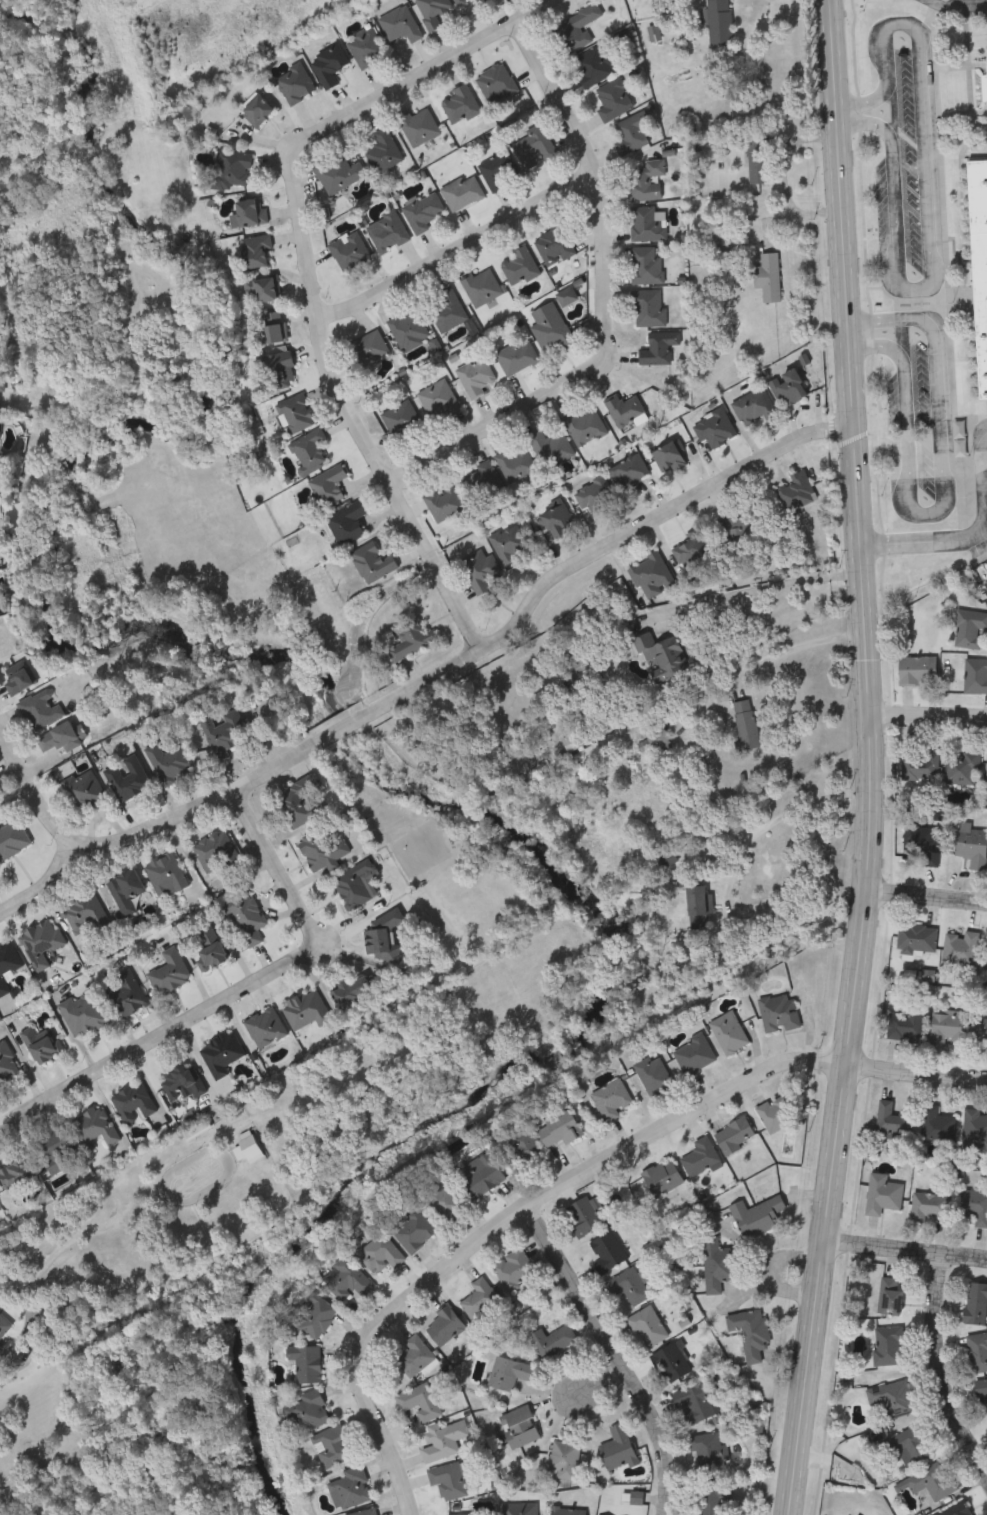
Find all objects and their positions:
building: (456, 1)
building: (478, 1)
road: (961, 2)
building: (430, 11)
building: (721, 21)
building: (398, 24)
building: (574, 29)
building: (365, 48)
building: (326, 65)
building: (592, 66)
building: (986, 70)
road: (419, 73)
building: (494, 83)
building: (293, 84)
building: (611, 100)
building: (458, 105)
building: (253, 110)
building: (417, 127)
building: (630, 133)
building: (532, 146)
building: (381, 151)
building: (759, 159)
building: (230, 167)
building: (497, 169)
building: (336, 173)
road: (782, 177)
building: (648, 180)
road: (598, 181)
building: (460, 192)
road: (932, 203)
building: (420, 211)
building: (248, 212)
building: (648, 223)
building: (385, 231)
building: (553, 245)
building: (347, 250)
road: (456, 251)
building: (251, 252)
building: (980, 259)
building: (647, 264)
building: (518, 266)
building: (770, 275)
building: (481, 286)
building: (261, 287)
building: (565, 295)
building: (445, 308)
building: (650, 308)
building: (272, 326)
building: (407, 328)
building: (549, 328)
road: (903, 336)
building: (367, 348)
building: (661, 348)
building: (0, 355)
building: (516, 357)
building: (277, 364)
building: (477, 374)
building: (787, 388)
building: (2, 391)
building: (437, 400)
building: (753, 406)
building: (624, 409)
road: (350, 410)
building: (295, 412)
building: (399, 418)
road: (497, 422)
building: (582, 426)
building: (713, 428)
building: (0, 432)
building: (550, 447)
building: (307, 450)
building: (668, 456)
building: (516, 465)
building: (628, 475)
building: (480, 482)
road: (986, 484)
building: (327, 486)
building: (795, 492)
building: (593, 496)
road: (944, 496)
building: (443, 503)
building: (555, 520)
building: (345, 522)
building: (734, 533)
road: (615, 540)
building: (506, 543)
road: (926, 543)
building: (692, 551)
building: (372, 562)
building: (480, 569)
building: (650, 575)
road: (751, 593)
building: (0, 617)
building: (970, 628)
building: (409, 639)
road: (801, 640)
building: (663, 656)
building: (918, 670)
building: (976, 675)
building: (18, 680)
building: (41, 709)
road: (930, 719)
road: (354, 723)
building: (748, 726)
building: (223, 734)
building: (59, 738)
building: (661, 739)
building: (575, 742)
road: (873, 759)
building: (171, 762)
building: (918, 762)
building: (962, 766)
building: (129, 778)
road: (30, 786)
building: (86, 789)
building: (300, 806)
road: (773, 819)
road: (142, 832)
building: (13, 838)
building: (972, 844)
building: (928, 846)
building: (217, 850)
building: (323, 851)
building: (669, 860)
building: (167, 874)
building: (355, 885)
building: (127, 891)
road: (927, 895)
building: (701, 908)
building: (247, 917)
building: (89, 918)
building: (383, 936)
building: (917, 938)
building: (43, 941)
building: (963, 945)
building: (211, 946)
building: (8, 965)
building: (172, 972)
building: (352, 991)
building: (130, 994)
road: (235, 999)
building: (307, 1009)
building: (780, 1011)
building: (84, 1012)
building: (907, 1023)
building: (948, 1025)
building: (267, 1027)
building: (980, 1029)
building: (730, 1032)
building: (43, 1044)
building: (222, 1052)
building: (695, 1054)
building: (8, 1064)
road: (916, 1074)
building: (654, 1075)
building: (183, 1081)
building: (610, 1099)
building: (135, 1103)
building: (784, 1107)
building: (892, 1118)
building: (937, 1124)
building: (94, 1127)
building: (560, 1128)
building: (975, 1129)
building: (735, 1134)
building: (522, 1149)
building: (59, 1151)
building: (250, 1151)
building: (701, 1155)
building: (17, 1173)
building: (482, 1173)
building: (663, 1176)
building: (883, 1193)
building: (444, 1200)
building: (975, 1204)
building: (930, 1205)
building: (586, 1212)
building: (758, 1215)
road: (513, 1223)
building: (415, 1229)
building: (381, 1251)
building: (609, 1251)
road: (904, 1256)
building: (718, 1263)
building: (515, 1267)
building: (348, 1277)
building: (629, 1285)
building: (890, 1294)
building: (480, 1297)
building: (976, 1302)
road: (31, 1310)
building: (315, 1316)
building: (445, 1324)
building: (648, 1325)
building: (4, 1327)
building: (751, 1330)
building: (552, 1339)
building: (889, 1344)
building: (977, 1351)
building: (415, 1354)
road: (611, 1359)
building: (306, 1361)
building: (672, 1361)
building: (509, 1372)
road: (944, 1374)
road: (598, 1385)
building: (981, 1386)
building: (894, 1397)
building: (420, 1401)
building: (696, 1402)
building: (309, 1410)
building: (520, 1426)
building: (444, 1439)
building: (331, 1445)
building: (911, 1445)
building: (618, 1448)
building: (708, 1450)
building: (565, 1459)
building: (449, 1479)
building: (931, 1481)
building: (350, 1487)
building: (712, 1499)
building: (520, 1508)
building: (957, 1509)
building: (568, 1510)
building: (365, 1511)
building: (462, 1514)
building: (850, 1514)

